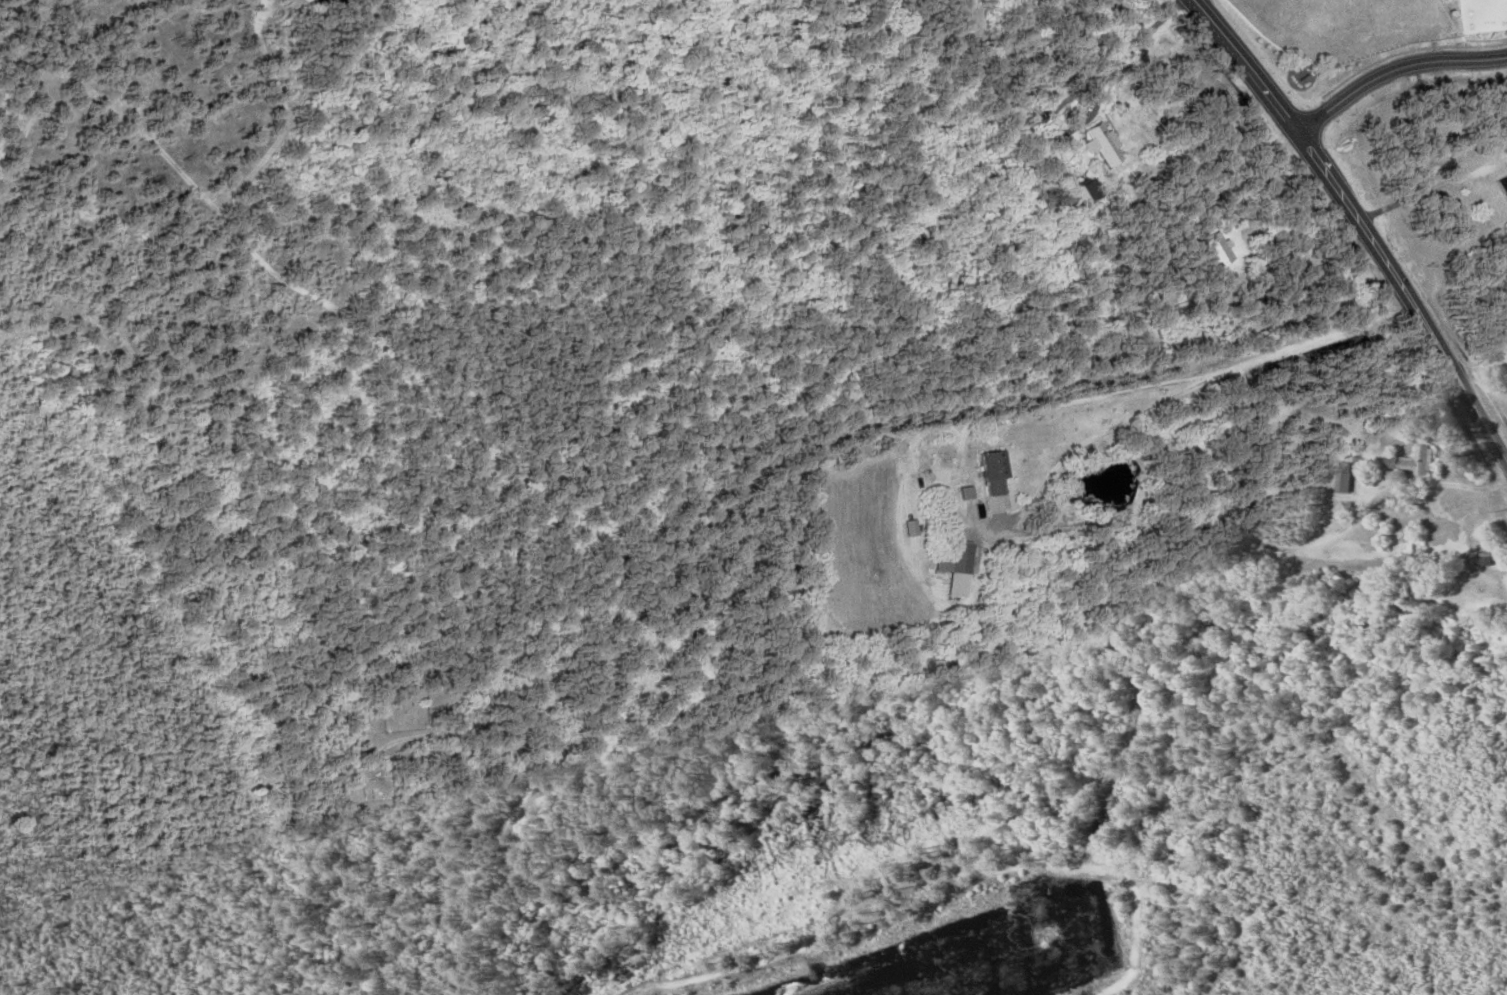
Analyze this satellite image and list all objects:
road: (1244, 67)
road: (1392, 71)
building: (1100, 147)
building: (1505, 182)
building: (1091, 189)
road: (1402, 298)
road: (802, 444)
building: (1411, 461)
building: (995, 473)
building: (1345, 477)
road: (262, 510)
building: (961, 557)
park: (376, 788)

